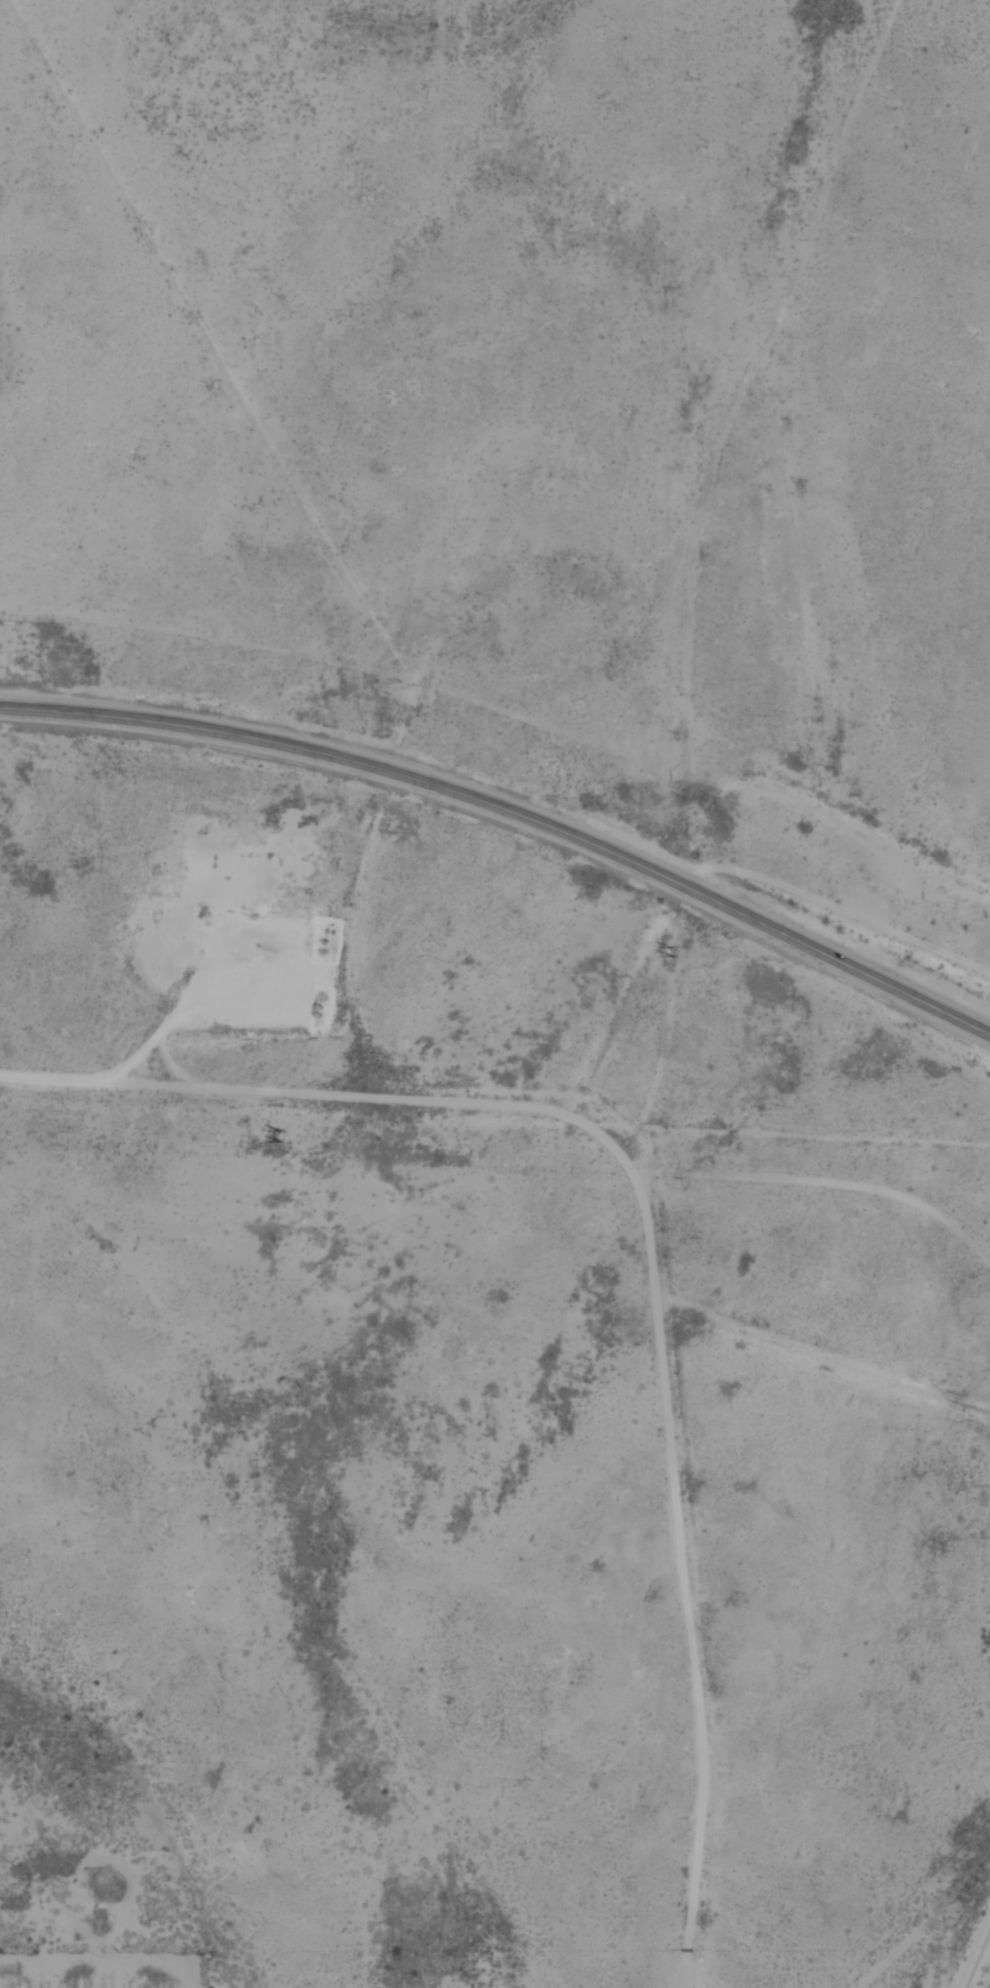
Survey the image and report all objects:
road: (710, 362)
road: (513, 813)
road: (207, 998)
road: (646, 1254)
road: (62, 1866)
road: (925, 1920)
road: (973, 1949)

